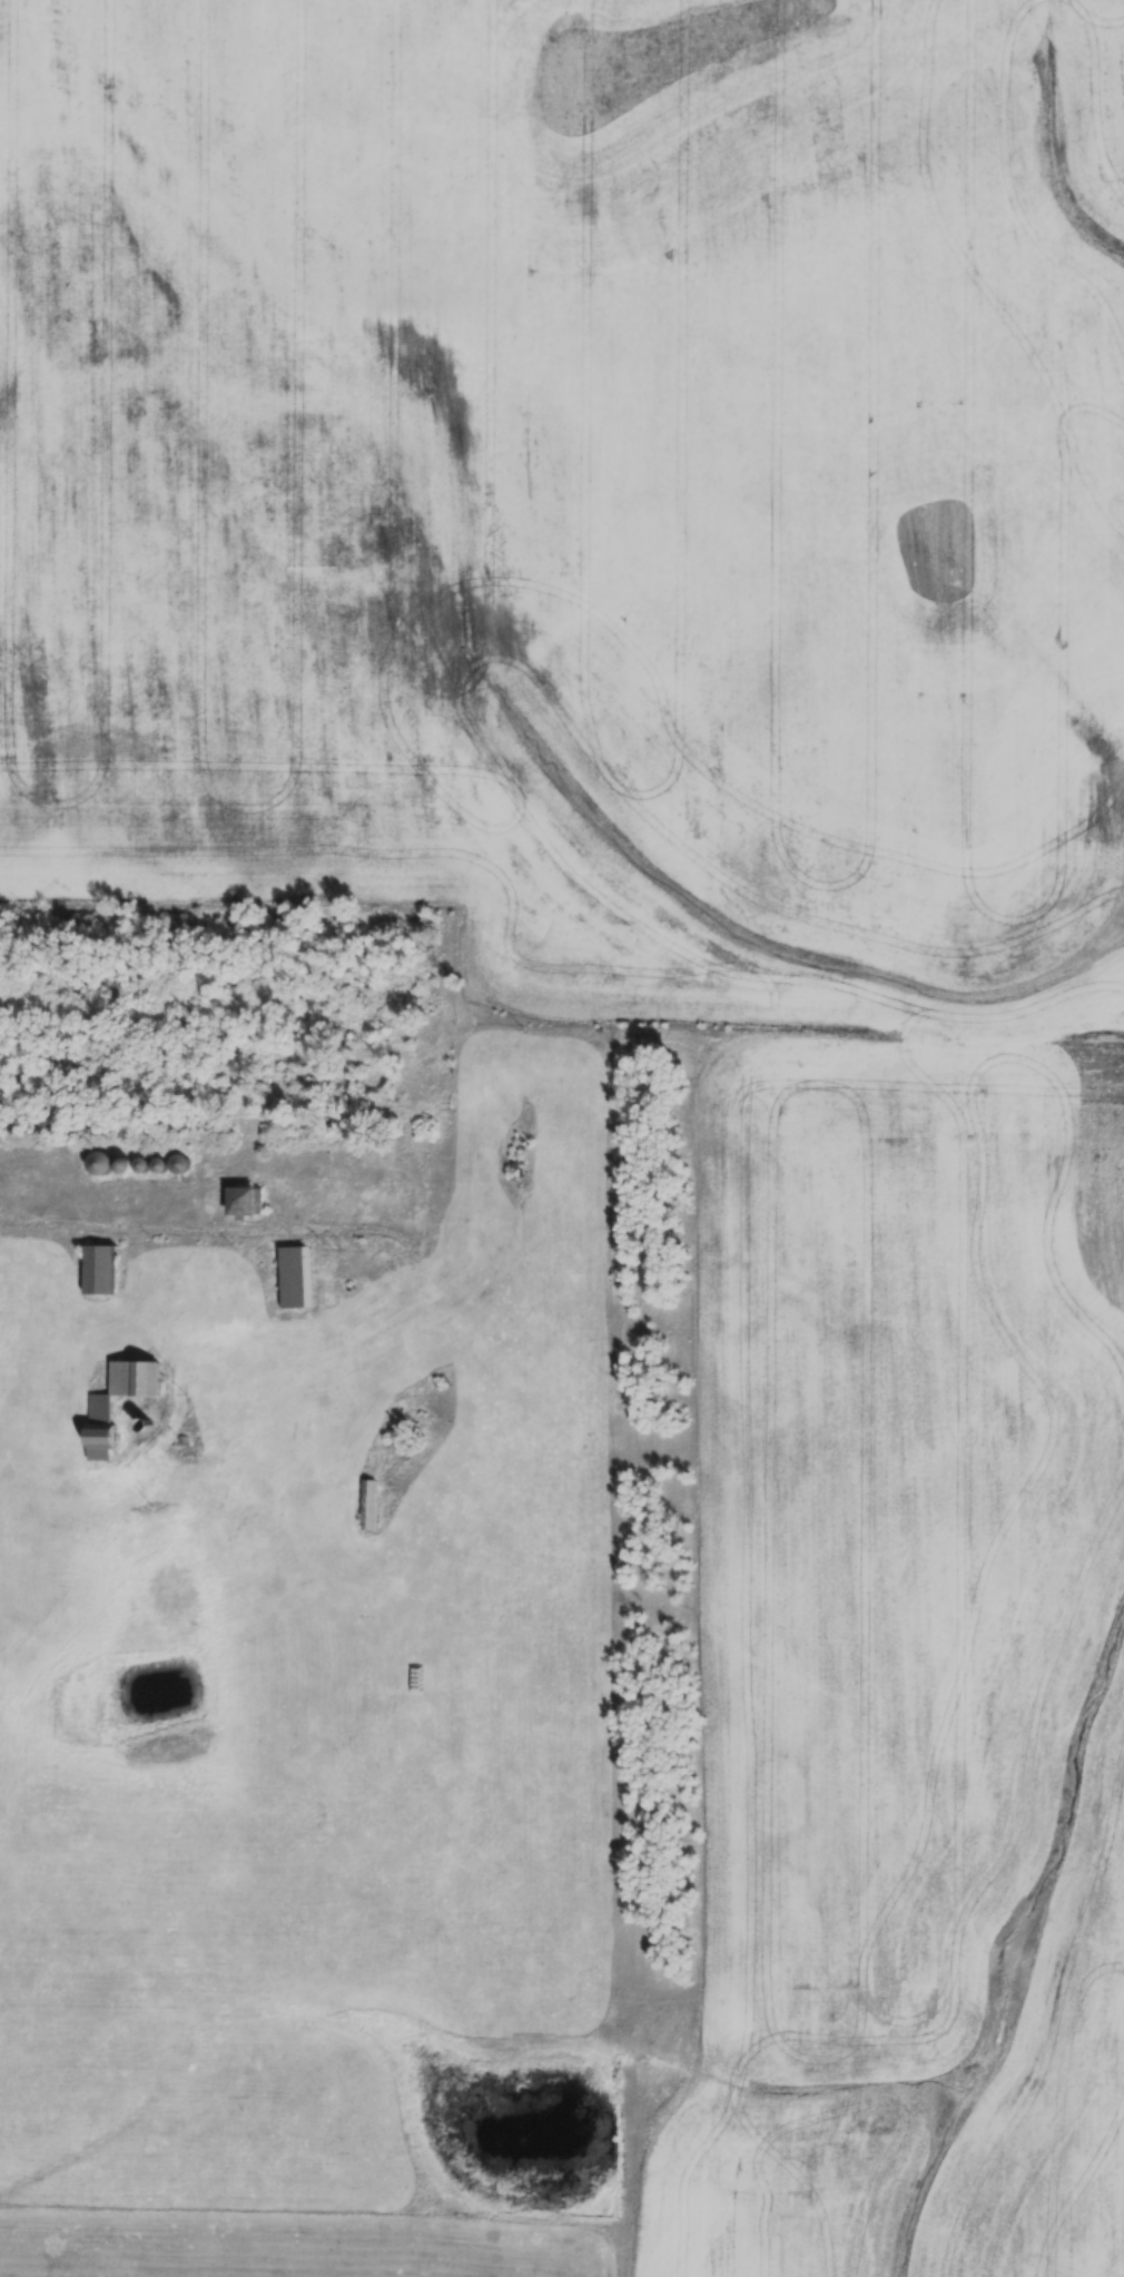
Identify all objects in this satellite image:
building: (178, 1163)
building: (99, 1164)
building: (122, 1167)
building: (245, 1200)
road: (144, 1229)
building: (98, 1269)
building: (293, 1275)
building: (100, 1428)
building: (368, 1505)
building: (7, 1534)
building: (395, 1752)

